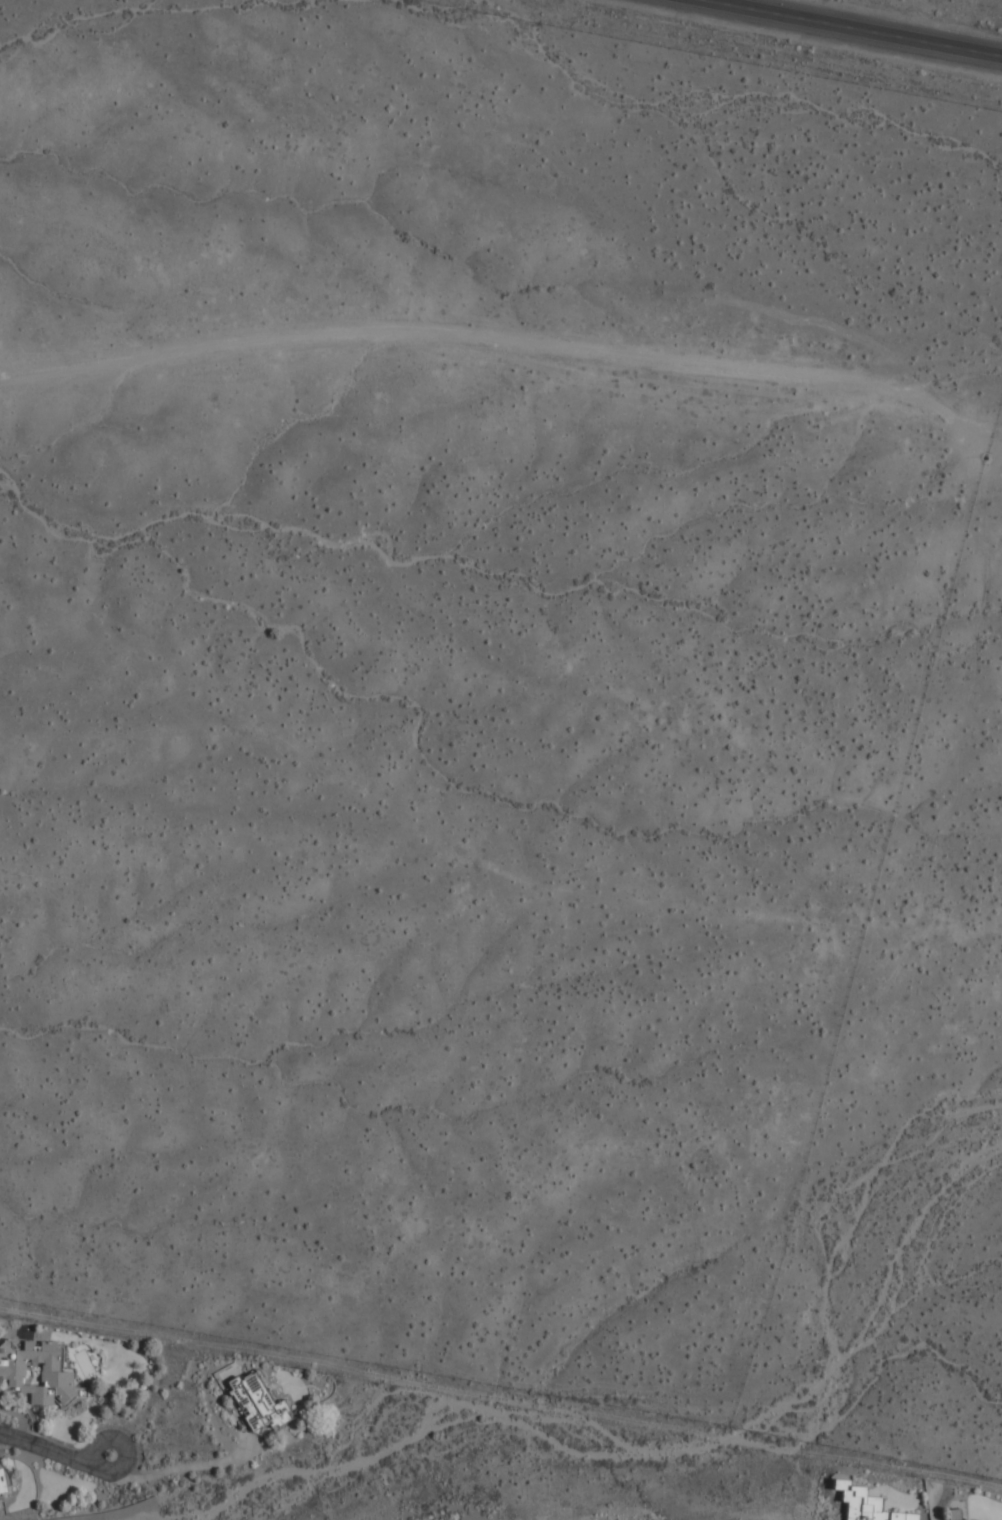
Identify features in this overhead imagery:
road: (854, 27)
road: (507, 343)
building: (38, 1373)
building: (257, 1402)
road: (44, 1446)
road: (124, 1448)
building: (4, 1483)
building: (866, 1504)
building: (954, 1514)

